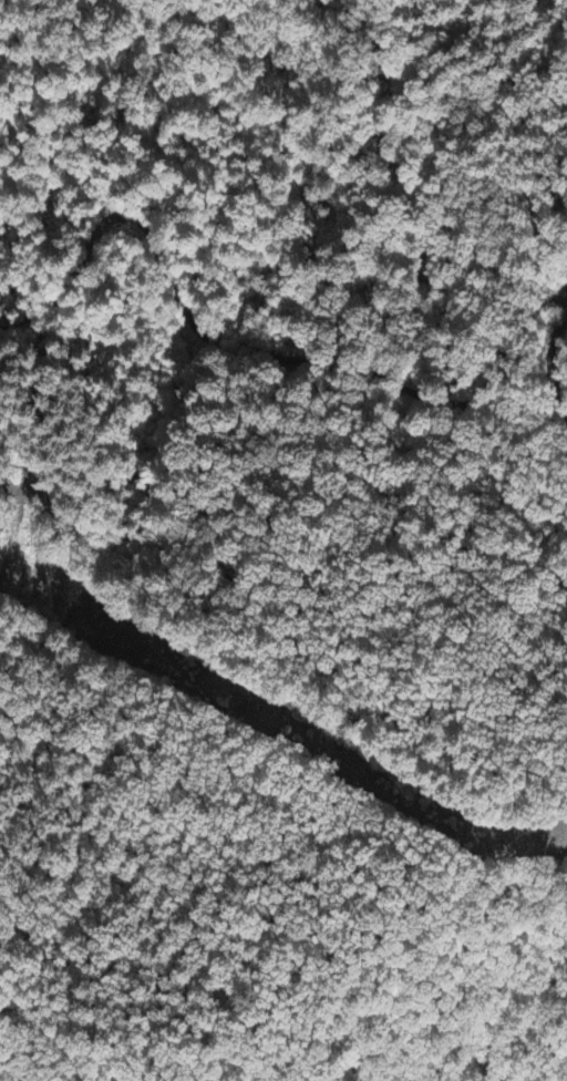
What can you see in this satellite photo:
road: (251, 348)

